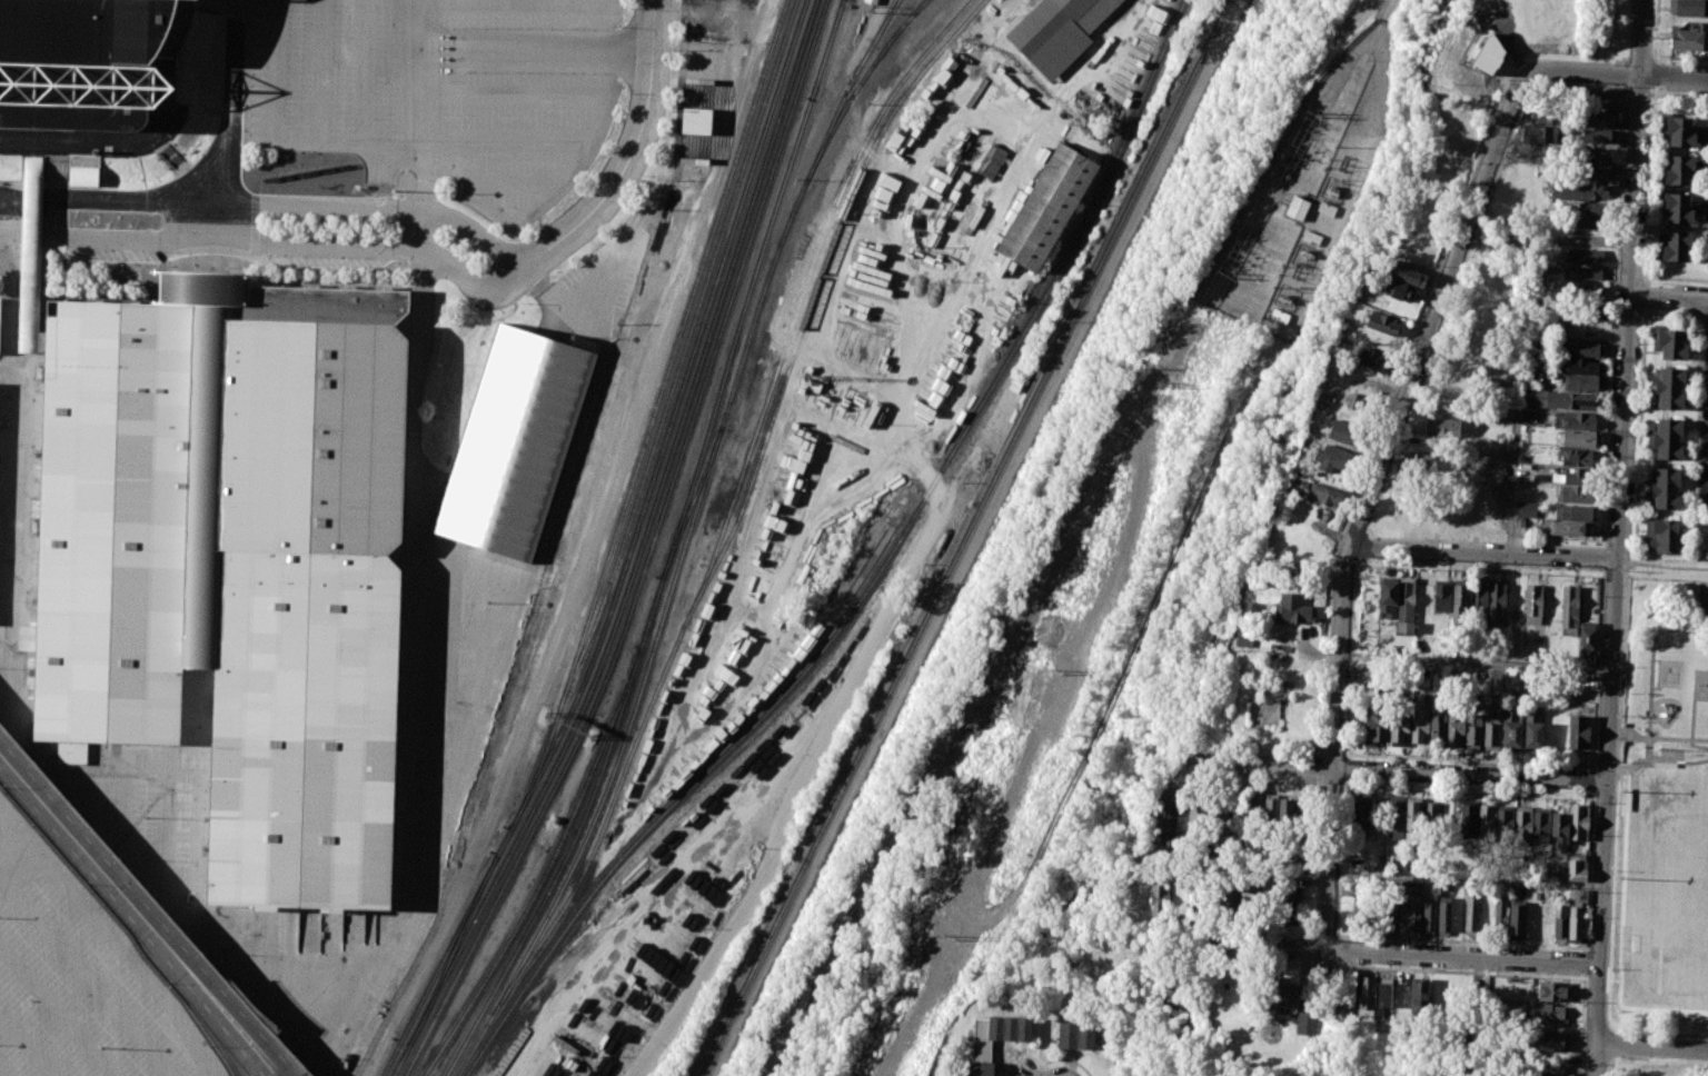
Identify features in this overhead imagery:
building: (872, 1)
road: (517, 4)
building: (1690, 7)
railway: (920, 9)
road: (1386, 11)
road: (711, 14)
road: (419, 16)
railway: (886, 23)
road: (1657, 30)
building: (1059, 31)
road: (425, 32)
building: (1686, 39)
road: (459, 42)
road: (455, 52)
building: (1489, 56)
building: (87, 61)
stadium: (87, 61)
road: (443, 63)
road: (464, 64)
road: (320, 71)
road: (364, 71)
road: (1656, 72)
road: (175, 73)
road: (1674, 74)
railway: (860, 87)
parking lot: (443, 90)
railway: (848, 90)
power tower: (1315, 114)
building: (1597, 118)
building: (696, 120)
road: (230, 121)
building: (1679, 131)
building: (1541, 134)
building: (1596, 136)
road: (505, 137)
road: (101, 147)
road: (189, 156)
building: (993, 160)
road: (1024, 166)
building: (83, 169)
building: (1677, 169)
building: (1593, 172)
road: (618, 177)
road: (416, 181)
road: (484, 183)
road: (1650, 185)
building: (1583, 191)
power substation: (1302, 196)
road: (9, 201)
road: (286, 202)
building: (1297, 208)
building: (1678, 208)
building: (1051, 209)
building: (1592, 215)
road: (8, 229)
road: (1507, 241)
road: (268, 243)
building: (1675, 246)
building: (1583, 255)
building: (1707, 255)
building: (31, 256)
road: (1454, 257)
building: (1582, 273)
building: (1407, 275)
power tower: (1228, 276)
railway: (751, 289)
building: (1398, 290)
building: (1582, 291)
railway: (814, 293)
building: (0, 298)
road: (1645, 298)
road: (1668, 298)
railway: (757, 303)
building: (1583, 311)
building: (1383, 323)
building: (1669, 342)
building: (1582, 347)
building: (1371, 357)
road: (1530, 357)
railway: (681, 358)
building: (1581, 366)
building: (1583, 382)
power tower: (1162, 383)
building: (1669, 388)
building: (1535, 398)
building: (1571, 400)
railway: (651, 416)
building: (1575, 419)
building: (1442, 427)
building: (1345, 432)
building: (1579, 438)
building: (1668, 439)
building: (516, 442)
railway: (953, 450)
building: (1578, 457)
building: (1333, 458)
parking lot: (1704, 459)
building: (1418, 462)
road: (1638, 472)
building: (1579, 475)
road: (413, 477)
building: (1665, 489)
building: (1577, 494)
building: (1327, 496)
railway: (691, 504)
railway: (732, 506)
building: (1527, 509)
building: (1575, 512)
building: (113, 522)
building: (1519, 527)
building: (1569, 529)
building: (1661, 535)
railway: (966, 537)
road: (1617, 538)
road: (585, 545)
railway: (628, 551)
railway: (637, 551)
railway: (648, 551)
road: (1482, 552)
building: (297, 582)
road: (1706, 588)
road: (1704, 590)
building: (1702, 596)
building: (1441, 597)
building: (1387, 598)
building: (1459, 602)
building: (1478, 602)
building: (1407, 604)
building: (1497, 604)
building: (1532, 604)
building: (1569, 606)
building: (1250, 608)
building: (1292, 609)
road: (1701, 624)
building: (1243, 638)
building: (1588, 642)
road: (1339, 656)
road: (1474, 662)
power tower: (1051, 666)
building: (1366, 671)
park: (1700, 685)
road: (1650, 688)
building: (1419, 724)
building: (1491, 726)
building: (1511, 726)
building: (1399, 727)
building: (1532, 727)
building: (1374, 728)
building: (1437, 728)
building: (1454, 728)
building: (1472, 728)
road: (1691, 730)
building: (1577, 731)
road: (1628, 736)
road: (1648, 748)
road: (1655, 760)
railway: (615, 763)
road: (1258, 766)
street lamp: (36, 767)
road: (1470, 774)
road: (1628, 788)
street lamp: (3, 790)
road: (794, 796)
building: (1269, 810)
building: (1249, 811)
building: (1287, 811)
parking lot: (105, 814)
building: (1195, 814)
building: (1217, 815)
building: (1394, 816)
building: (1360, 817)
building: (1413, 817)
building: (1468, 818)
building: (1432, 819)
building: (1487, 820)
park: (1662, 820)
building: (1505, 821)
building: (1579, 821)
building: (1542, 824)
building: (1522, 825)
building: (1559, 828)
park: (1666, 831)
road: (22, 835)
railway: (575, 836)
road: (1331, 857)
street lamp: (120, 863)
railway: (545, 869)
building: (1575, 870)
road: (1466, 878)
street lamp: (88, 888)
building: (1573, 895)
building: (1161, 903)
building: (1291, 904)
building: (1559, 910)
building: (1363, 911)
building: (1471, 911)
building: (1500, 913)
road: (140, 914)
building: (1408, 914)
building: (1428, 914)
building: (1444, 914)
building: (1517, 919)
building: (1575, 924)
building: (1559, 927)
power tower: (940, 936)
road: (120, 947)
railway: (453, 949)
road: (1372, 949)
railway: (545, 955)
road: (380, 956)
street lamp: (203, 957)
park: (1697, 960)
road: (1453, 972)
road: (85, 978)
street lamp: (169, 986)
railway: (556, 987)
building: (1347, 989)
building: (1553, 990)
building: (1364, 993)
building: (1279, 994)
building: (1418, 996)
building: (1384, 999)
road: (57, 1012)
road: (1471, 1014)
building: (1547, 1014)
road: (350, 1016)
building: (1304, 1024)
building: (1076, 1036)
building: (995, 1039)
building: (1548, 1042)
road: (27, 1045)
road: (1651, 1046)
street lamp: (101, 1047)
street lamp: (212, 1047)
road: (241, 1052)
street lamp: (297, 1063)
road: (1607, 1069)
building: (1543, 1075)

